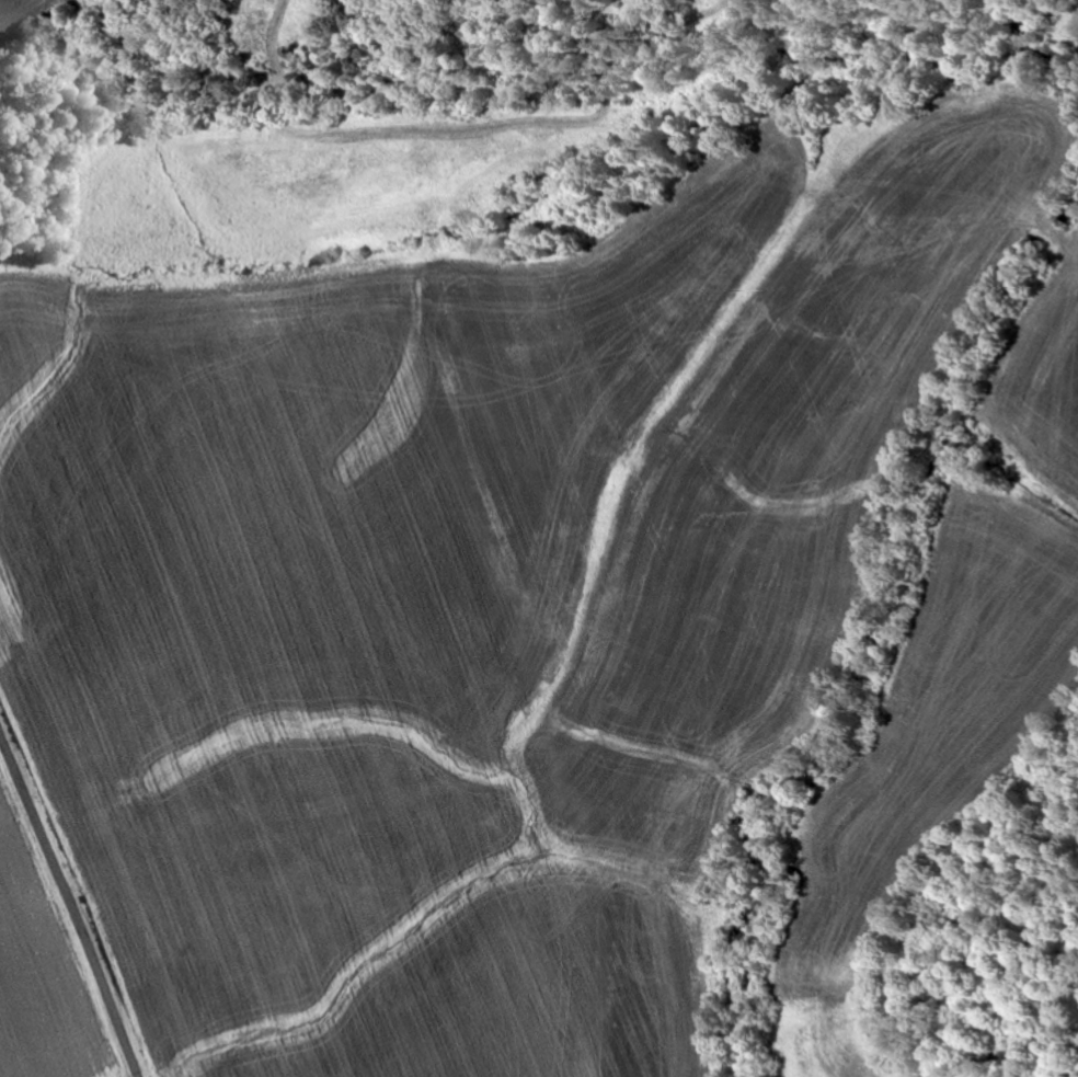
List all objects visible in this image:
road: (68, 908)

